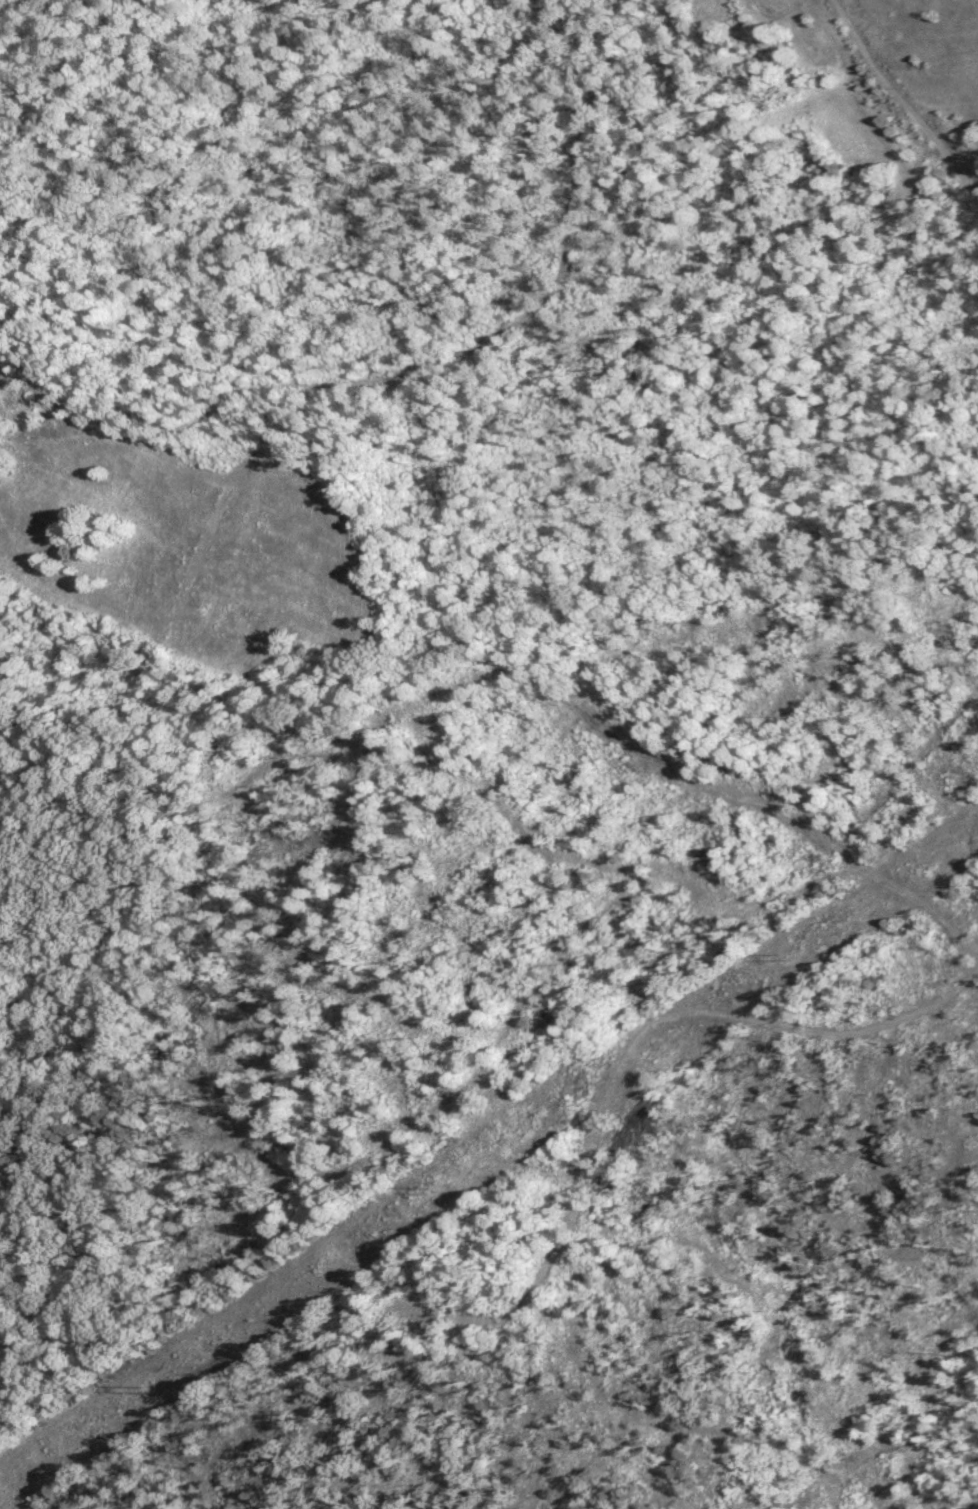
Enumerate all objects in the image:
road: (883, 79)

